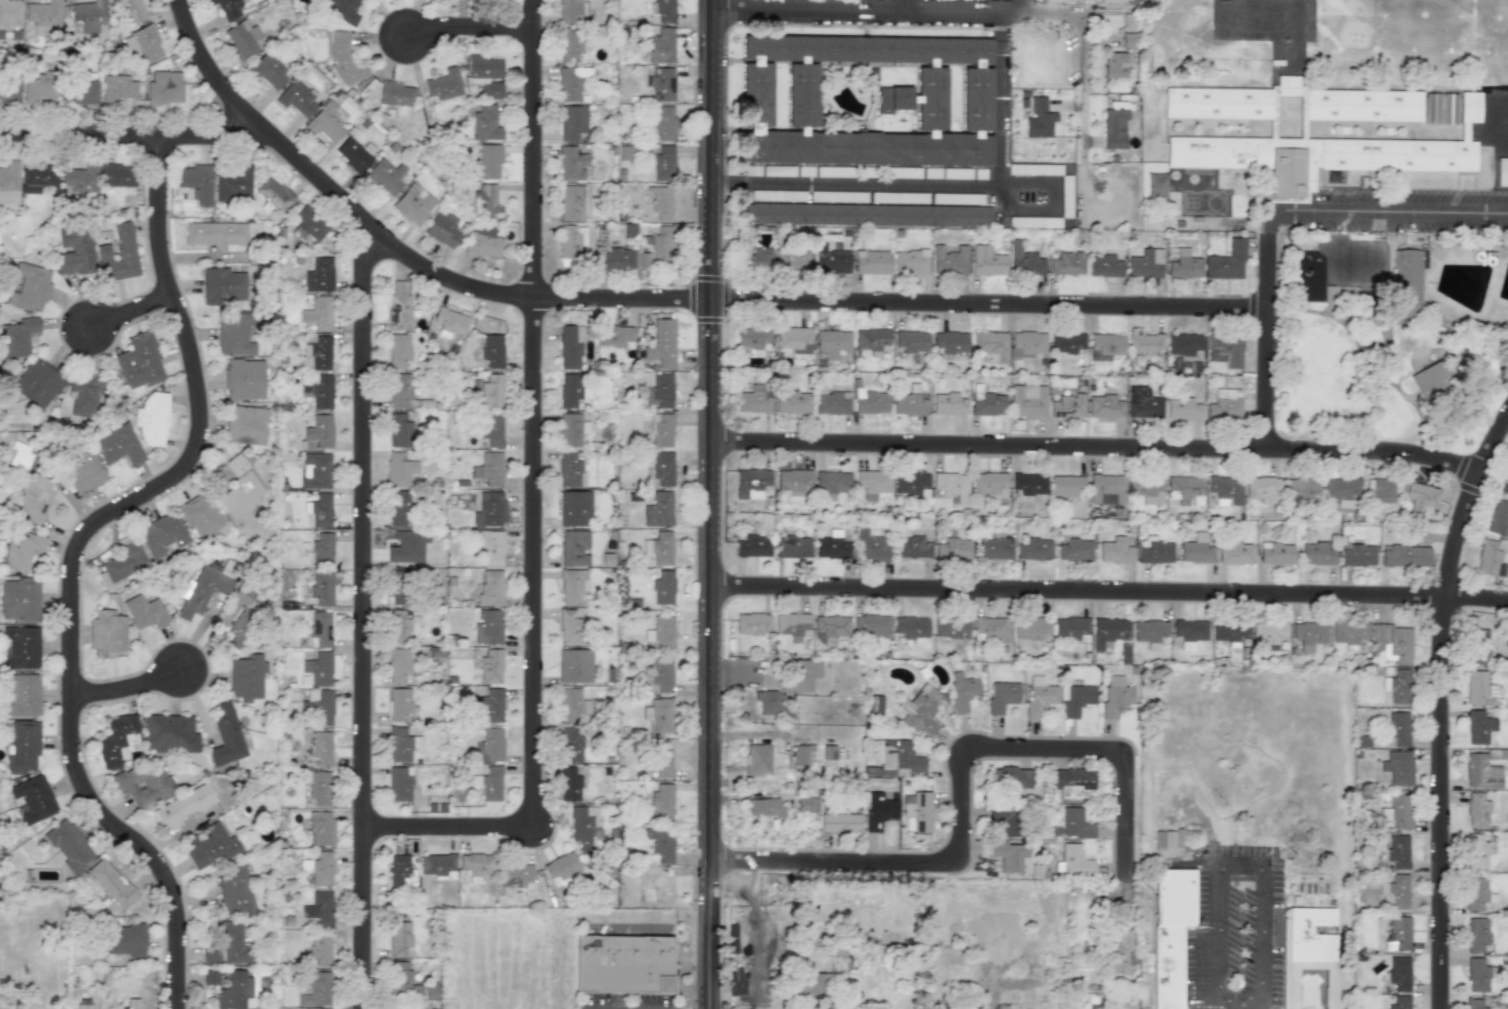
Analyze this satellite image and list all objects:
road: (905, 5)
road: (1022, 6)
road: (1153, 6)
building: (227, 8)
building: (132, 10)
building: (664, 10)
road: (867, 10)
building: (343, 11)
building: (573, 11)
building: (9, 14)
building: (43, 16)
building: (89, 16)
road: (473, 34)
building: (242, 40)
building: (1128, 40)
park: (1323, 42)
building: (143, 43)
building: (570, 43)
building: (661, 46)
road: (1082, 49)
building: (343, 60)
building: (1114, 65)
building: (269, 70)
building: (487, 74)
building: (571, 83)
building: (444, 84)
building: (662, 84)
building: (38, 87)
building: (165, 88)
building: (116, 89)
building: (9, 92)
building: (80, 92)
building: (396, 94)
building: (296, 99)
road: (1000, 99)
building: (866, 100)
building: (1440, 109)
building: (1039, 119)
building: (327, 122)
building: (486, 122)
building: (573, 123)
building: (662, 123)
building: (1114, 129)
building: (1191, 137)
road: (124, 140)
building: (352, 155)
building: (489, 162)
building: (662, 163)
building: (572, 164)
building: (751, 170)
building: (1502, 170)
building: (778, 171)
building: (805, 171)
building: (833, 172)
building: (901, 172)
building: (932, 173)
building: (956, 173)
building: (979, 174)
building: (115, 175)
building: (387, 176)
building: (37, 178)
building: (8, 179)
building: (80, 179)
building: (196, 182)
building: (233, 182)
road: (856, 185)
building: (274, 194)
building: (778, 195)
building: (838, 196)
building: (1066, 196)
building: (899, 197)
building: (957, 198)
building: (486, 201)
building: (574, 201)
building: (413, 204)
building: (662, 204)
building: (865, 214)
road: (1378, 214)
building: (1033, 222)
building: (308, 225)
building: (443, 230)
building: (216, 233)
building: (570, 242)
building: (483, 243)
building: (75, 254)
building: (118, 255)
building: (755, 259)
building: (617, 260)
building: (831, 260)
building: (949, 260)
building: (987, 261)
building: (792, 262)
building: (871, 262)
building: (910, 262)
building: (1026, 262)
building: (1226, 262)
park: (1356, 263)
building: (1067, 264)
building: (1146, 264)
building: (1105, 267)
building: (1185, 267)
building: (319, 276)
building: (1407, 282)
building: (224, 285)
building: (30, 287)
road: (660, 303)
building: (399, 306)
road: (133, 312)
building: (318, 313)
building: (450, 322)
building: (236, 333)
building: (19, 336)
building: (616, 336)
building: (752, 338)
building: (795, 339)
building: (872, 341)
building: (912, 341)
building: (950, 341)
road: (1269, 342)
building: (1067, 343)
building: (661, 344)
building: (991, 344)
building: (1027, 344)
building: (1106, 344)
building: (1145, 344)
building: (833, 345)
building: (1184, 345)
building: (569, 349)
building: (399, 350)
building: (492, 350)
building: (1225, 350)
building: (318, 354)
building: (139, 362)
road: (1361, 371)
building: (245, 379)
building: (1229, 383)
building: (1430, 383)
building: (37, 384)
building: (570, 389)
building: (490, 390)
building: (662, 390)
building: (401, 391)
building: (322, 392)
building: (84, 396)
building: (1028, 400)
building: (753, 401)
building: (870, 402)
building: (910, 402)
building: (793, 403)
building: (832, 403)
building: (1145, 403)
building: (948, 404)
building: (989, 405)
building: (1225, 405)
building: (1067, 407)
building: (1105, 407)
building: (1183, 409)
building: (152, 419)
building: (246, 425)
building: (572, 429)
building: (491, 430)
building: (661, 430)
building: (320, 431)
building: (400, 431)
building: (118, 445)
road: (1098, 448)
building: (19, 456)
building: (491, 468)
building: (663, 468)
building: (85, 469)
building: (399, 469)
building: (569, 470)
building: (316, 471)
building: (793, 480)
building: (833, 480)
building: (751, 483)
building: (872, 483)
building: (911, 484)
building: (1029, 484)
building: (951, 485)
building: (989, 485)
building: (1067, 486)
building: (1224, 487)
building: (1263, 487)
building: (1303, 487)
building: (1341, 487)
building: (240, 488)
building: (1184, 488)
building: (1106, 489)
building: (1147, 489)
building: (1506, 489)
building: (1382, 491)
building: (1420, 497)
road: (536, 500)
road: (712, 504)
building: (574, 508)
building: (319, 510)
building: (490, 510)
building: (658, 510)
building: (398, 512)
building: (200, 516)
building: (1499, 519)
building: (162, 536)
building: (407, 546)
building: (832, 546)
building: (490, 547)
building: (753, 547)
building: (792, 547)
building: (872, 547)
building: (575, 548)
building: (660, 548)
building: (913, 548)
building: (1034, 548)
building: (322, 549)
building: (21, 550)
building: (953, 550)
building: (995, 550)
building: (1075, 550)
building: (1115, 551)
building: (1155, 552)
building: (1197, 552)
building: (1236, 553)
building: (1276, 554)
building: (1318, 554)
building: (1358, 556)
building: (1405, 556)
building: (1488, 558)
road: (79, 559)
building: (122, 563)
building: (572, 586)
building: (490, 588)
building: (663, 588)
building: (322, 589)
building: (200, 591)
building: (397, 593)
road: (1110, 593)
building: (19, 600)
building: (145, 613)
road: (366, 615)
building: (752, 623)
building: (399, 624)
building: (792, 625)
building: (872, 626)
building: (488, 627)
building: (572, 627)
building: (912, 627)
building: (950, 627)
building: (320, 628)
building: (1030, 628)
building: (1070, 628)
building: (830, 629)
building: (991, 629)
building: (1229, 631)
building: (1108, 632)
building: (1190, 632)
building: (661, 633)
building: (1150, 633)
building: (1349, 633)
building: (1269, 634)
building: (106, 635)
building: (1309, 635)
building: (1507, 639)
building: (1393, 643)
building: (1479, 643)
building: (21, 647)
building: (399, 665)
building: (574, 666)
building: (491, 667)
building: (319, 669)
building: (658, 676)
building: (800, 676)
building: (247, 677)
building: (1398, 687)
building: (1476, 687)
road: (132, 691)
building: (962, 691)
building: (1115, 695)
building: (22, 696)
building: (1002, 696)
building: (1039, 696)
building: (1077, 699)
building: (769, 702)
building: (400, 704)
building: (490, 705)
building: (572, 706)
building: (319, 707)
road: (1443, 709)
building: (920, 710)
building: (660, 715)
building: (1479, 727)
building: (1397, 729)
building: (170, 734)
building: (226, 737)
building: (116, 739)
building: (401, 745)
building: (571, 745)
building: (490, 746)
building: (23, 747)
building: (321, 748)
building: (829, 752)
building: (801, 755)
building: (895, 758)
building: (758, 759)
building: (663, 760)
building: (1398, 767)
building: (1481, 773)
building: (1010, 778)
building: (145, 784)
building: (399, 784)
building: (488, 784)
building: (1072, 784)
building: (568, 785)
road: (967, 785)
building: (320, 788)
building: (34, 799)
building: (662, 802)
building: (805, 804)
building: (185, 805)
building: (766, 808)
building: (880, 810)
building: (918, 811)
building: (1477, 811)
building: (1397, 812)
building: (1002, 820)
building: (840, 823)
building: (1074, 824)
building: (584, 826)
building: (321, 828)
building: (1163, 839)
building: (660, 844)
building: (69, 846)
building: (212, 847)
building: (1398, 851)
building: (1476, 852)
building: (1009, 855)
building: (1073, 861)
road: (1240, 862)
building: (438, 866)
building: (475, 866)
building: (318, 869)
building: (561, 869)
building: (400, 873)
building: (515, 875)
building: (113, 884)
building: (234, 889)
building: (1395, 893)
building: (1476, 893)
building: (318, 909)
road: (647, 919)
road: (1217, 929)
road: (1261, 930)
building: (1170, 933)
building: (1398, 933)
building: (1477, 935)
building: (400, 939)
building: (125, 940)
building: (233, 943)
building: (320, 949)
building: (1121, 953)
building: (211, 954)
building: (1308, 960)
building: (623, 964)
building: (1399, 973)
building: (1477, 974)
building: (210, 978)
building: (404, 981)
building: (809, 986)
building: (234, 991)
building: (318, 991)
building: (431, 991)
road: (1224, 996)
road: (1246, 996)
road: (1232, 1002)
building: (1400, 1002)
building: (132, 1004)
building: (1474, 1004)
building: (83, 1006)

